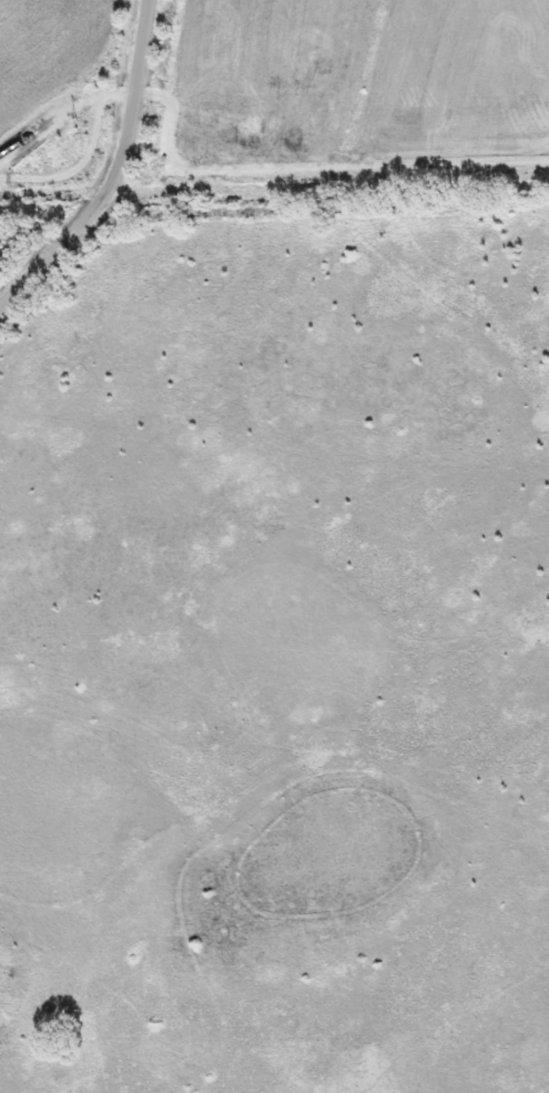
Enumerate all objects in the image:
road: (121, 178)

